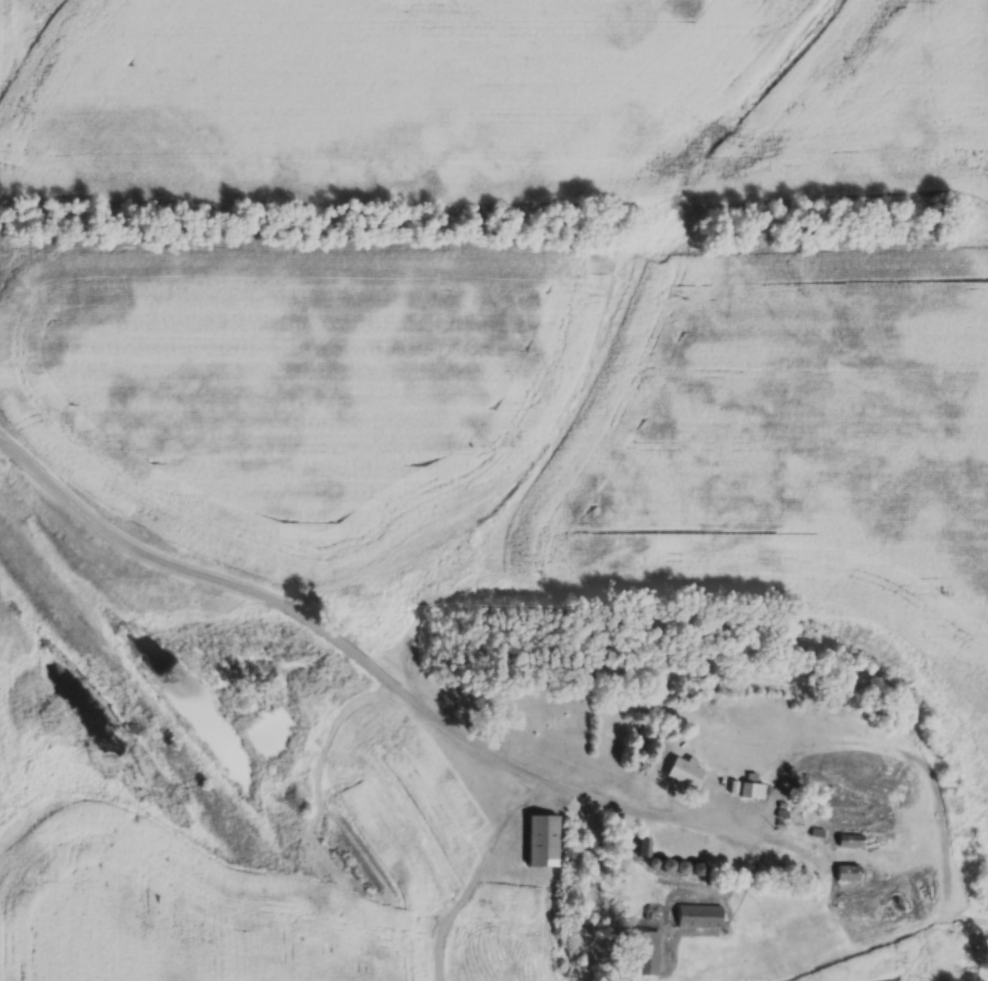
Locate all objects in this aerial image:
building: (780, 694)
building: (679, 772)
building: (749, 790)
building: (798, 815)
building: (539, 840)
building: (849, 840)
building: (641, 848)
building: (846, 872)
building: (697, 916)
building: (645, 952)

